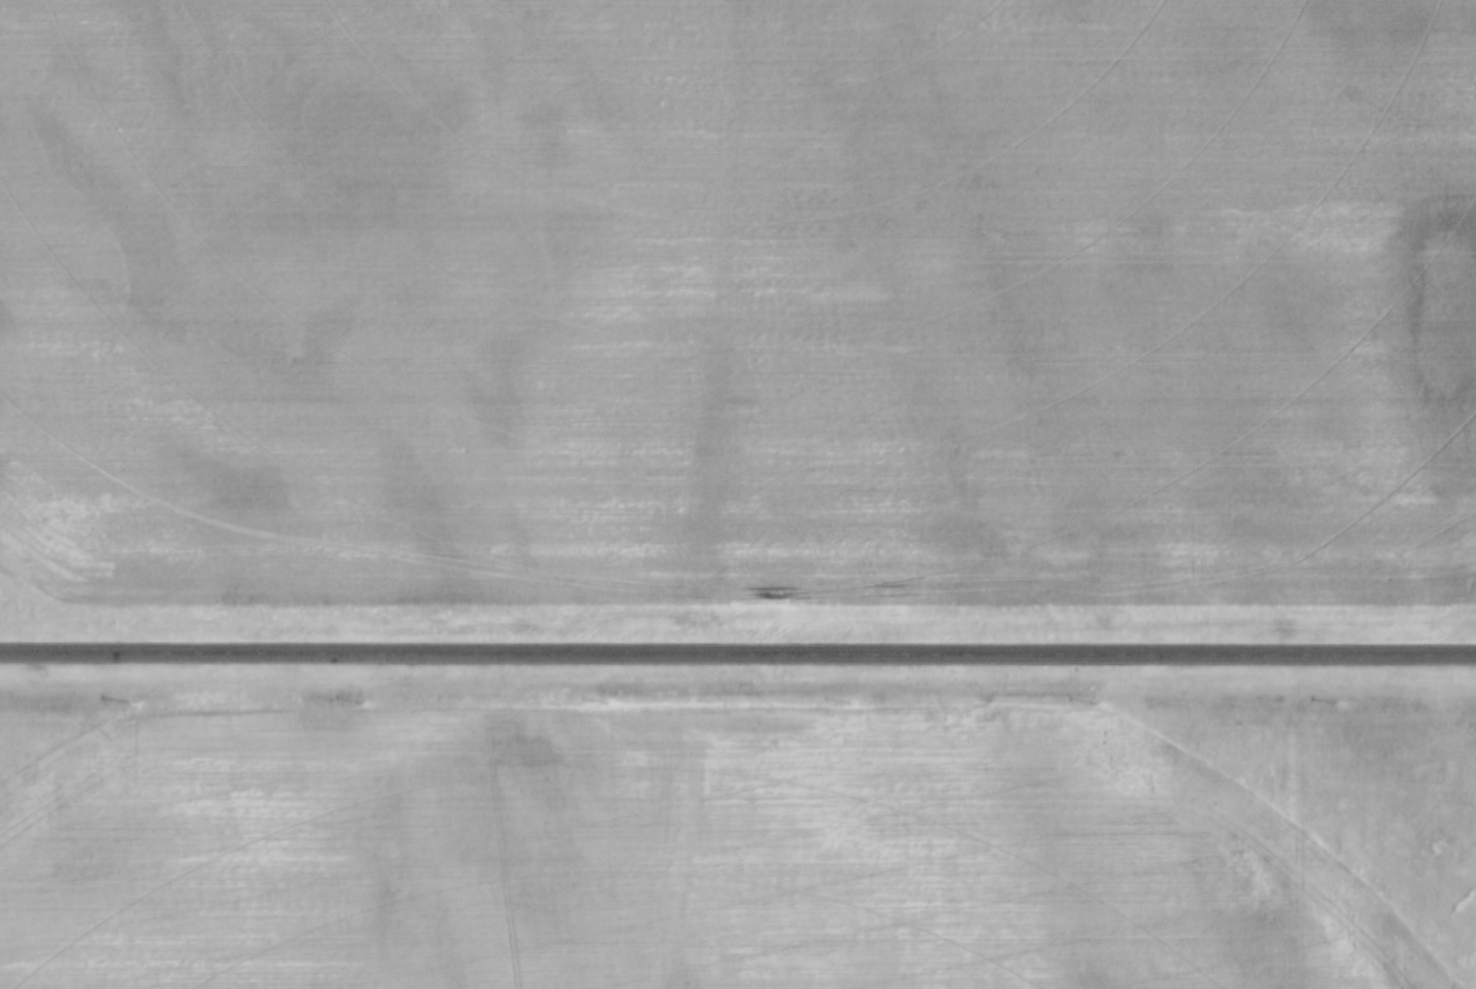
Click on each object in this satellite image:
road: (738, 651)

